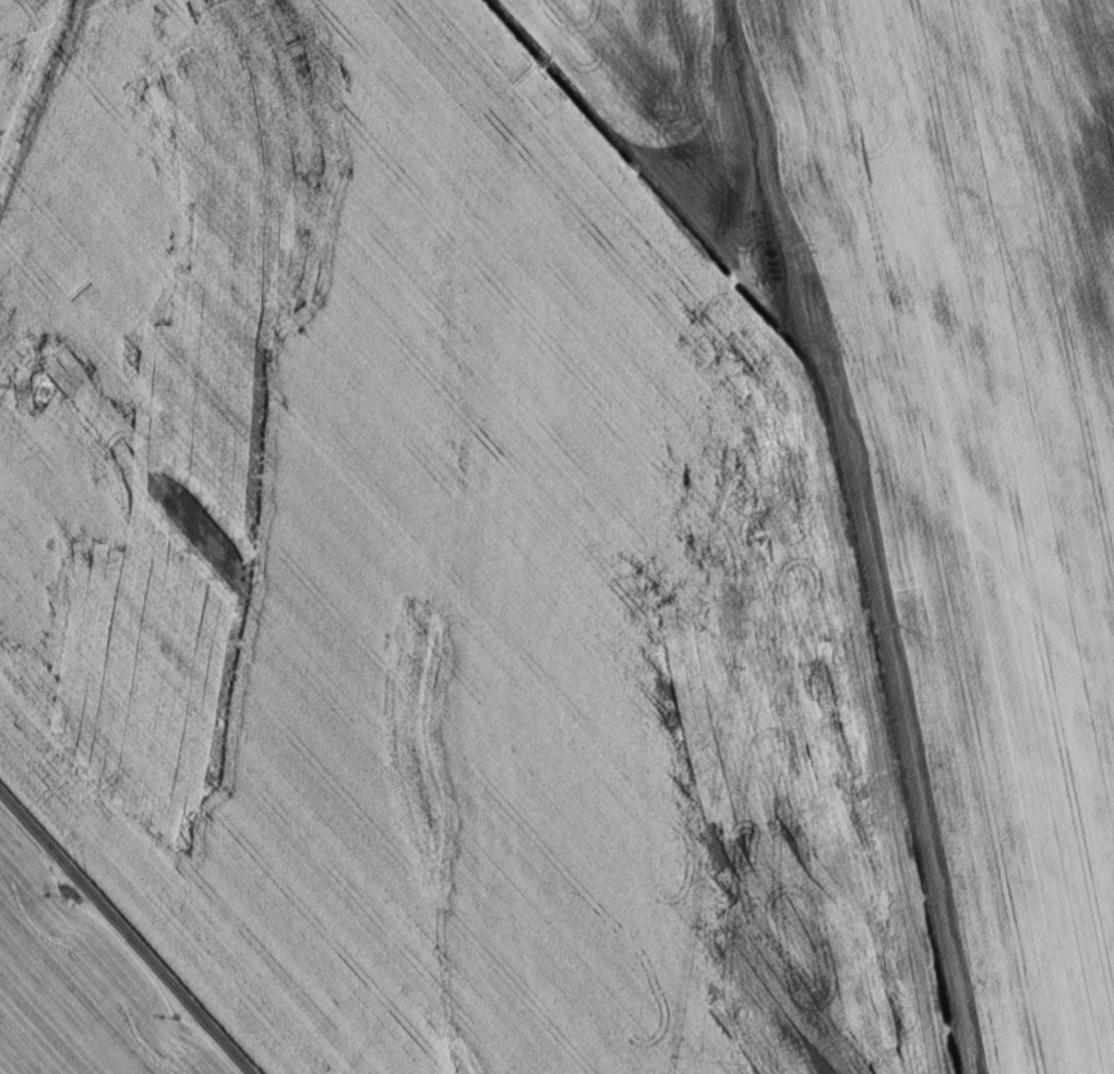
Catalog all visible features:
power tower: (43, 393)
road: (123, 933)

